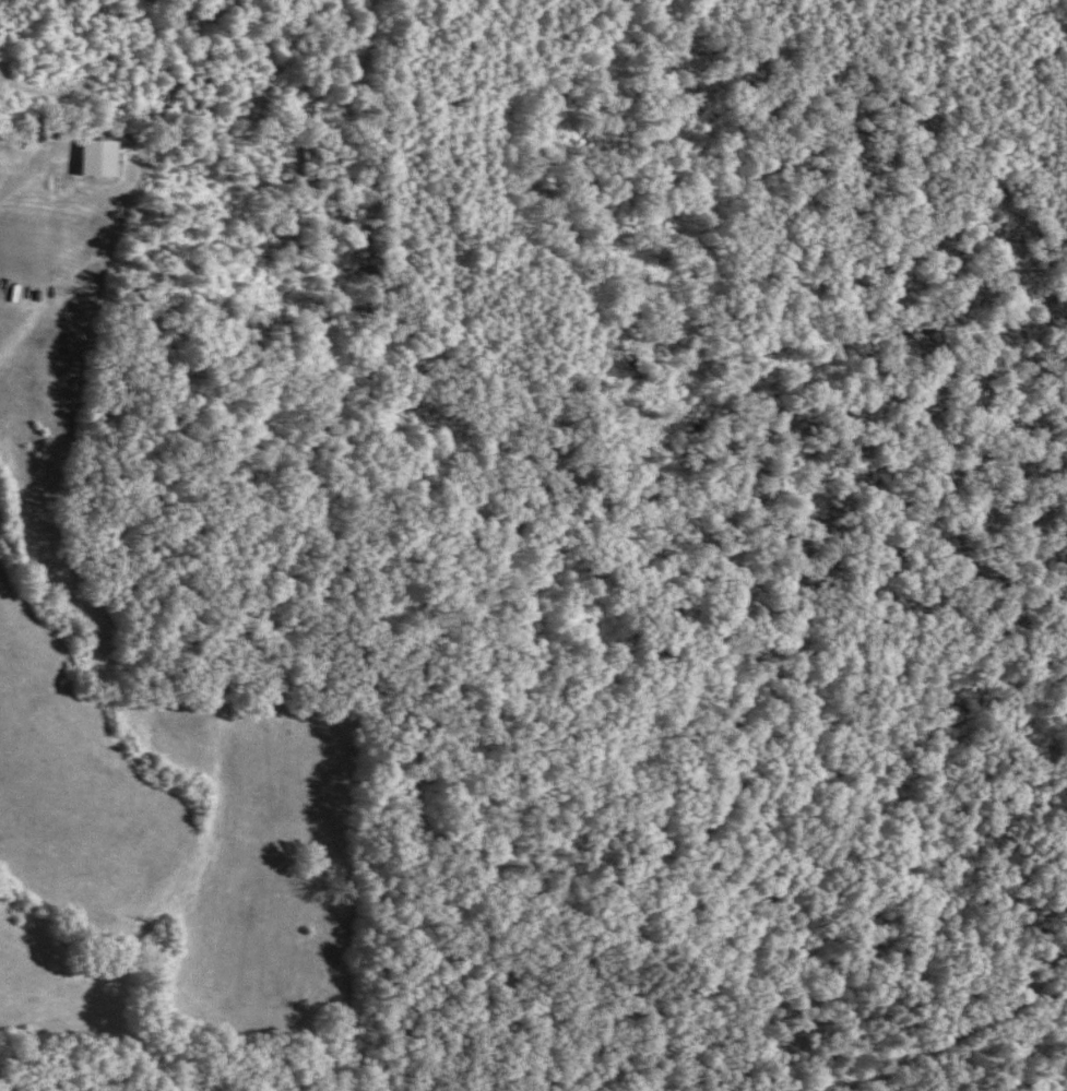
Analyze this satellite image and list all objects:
road: (947, 1042)

